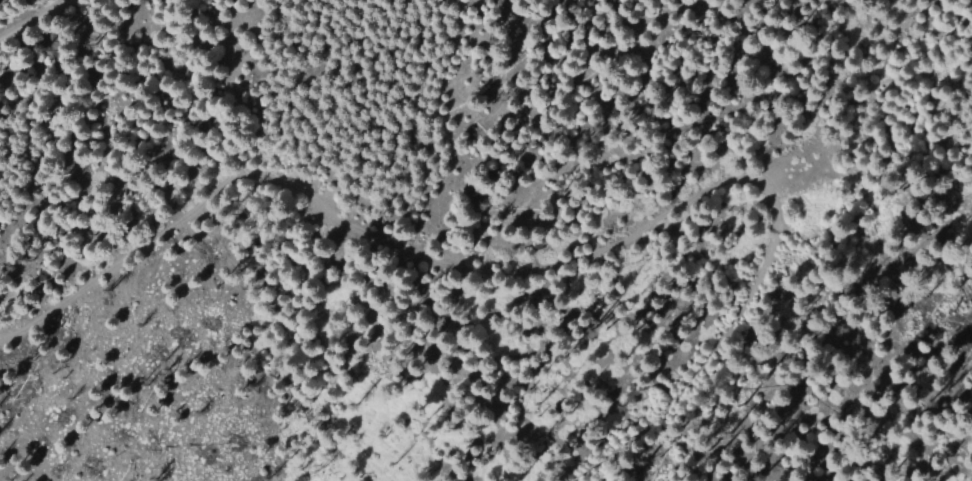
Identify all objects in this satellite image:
road: (28, 16)
road: (546, 262)

